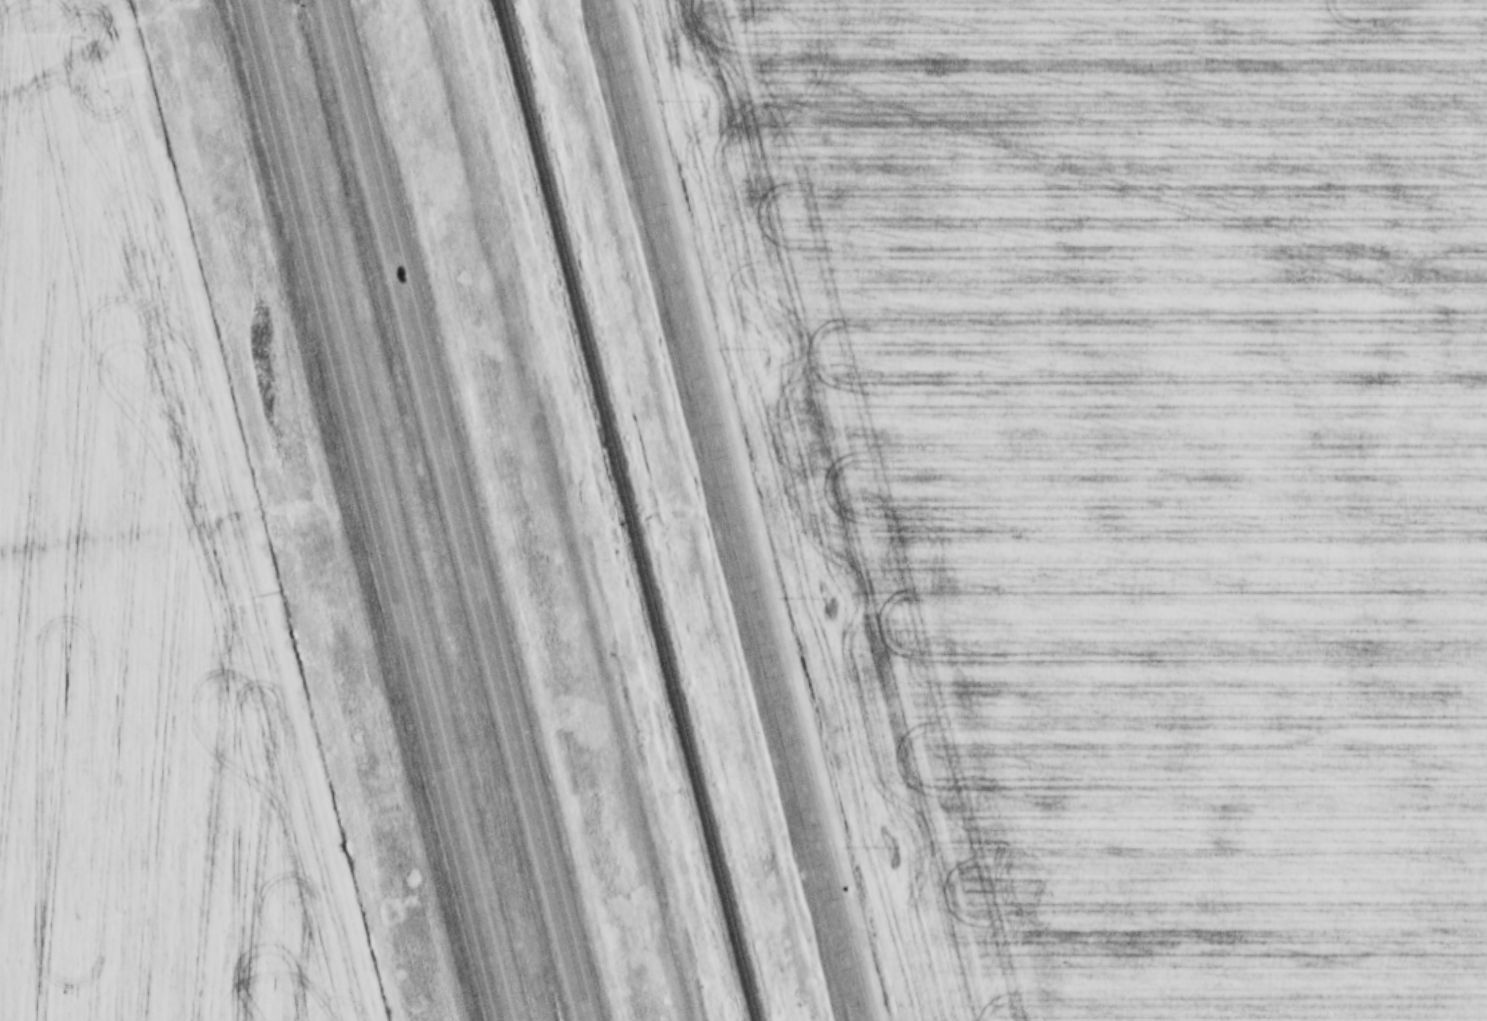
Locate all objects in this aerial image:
road: (380, 510)
road: (462, 510)
railway: (625, 510)
road: (736, 510)

